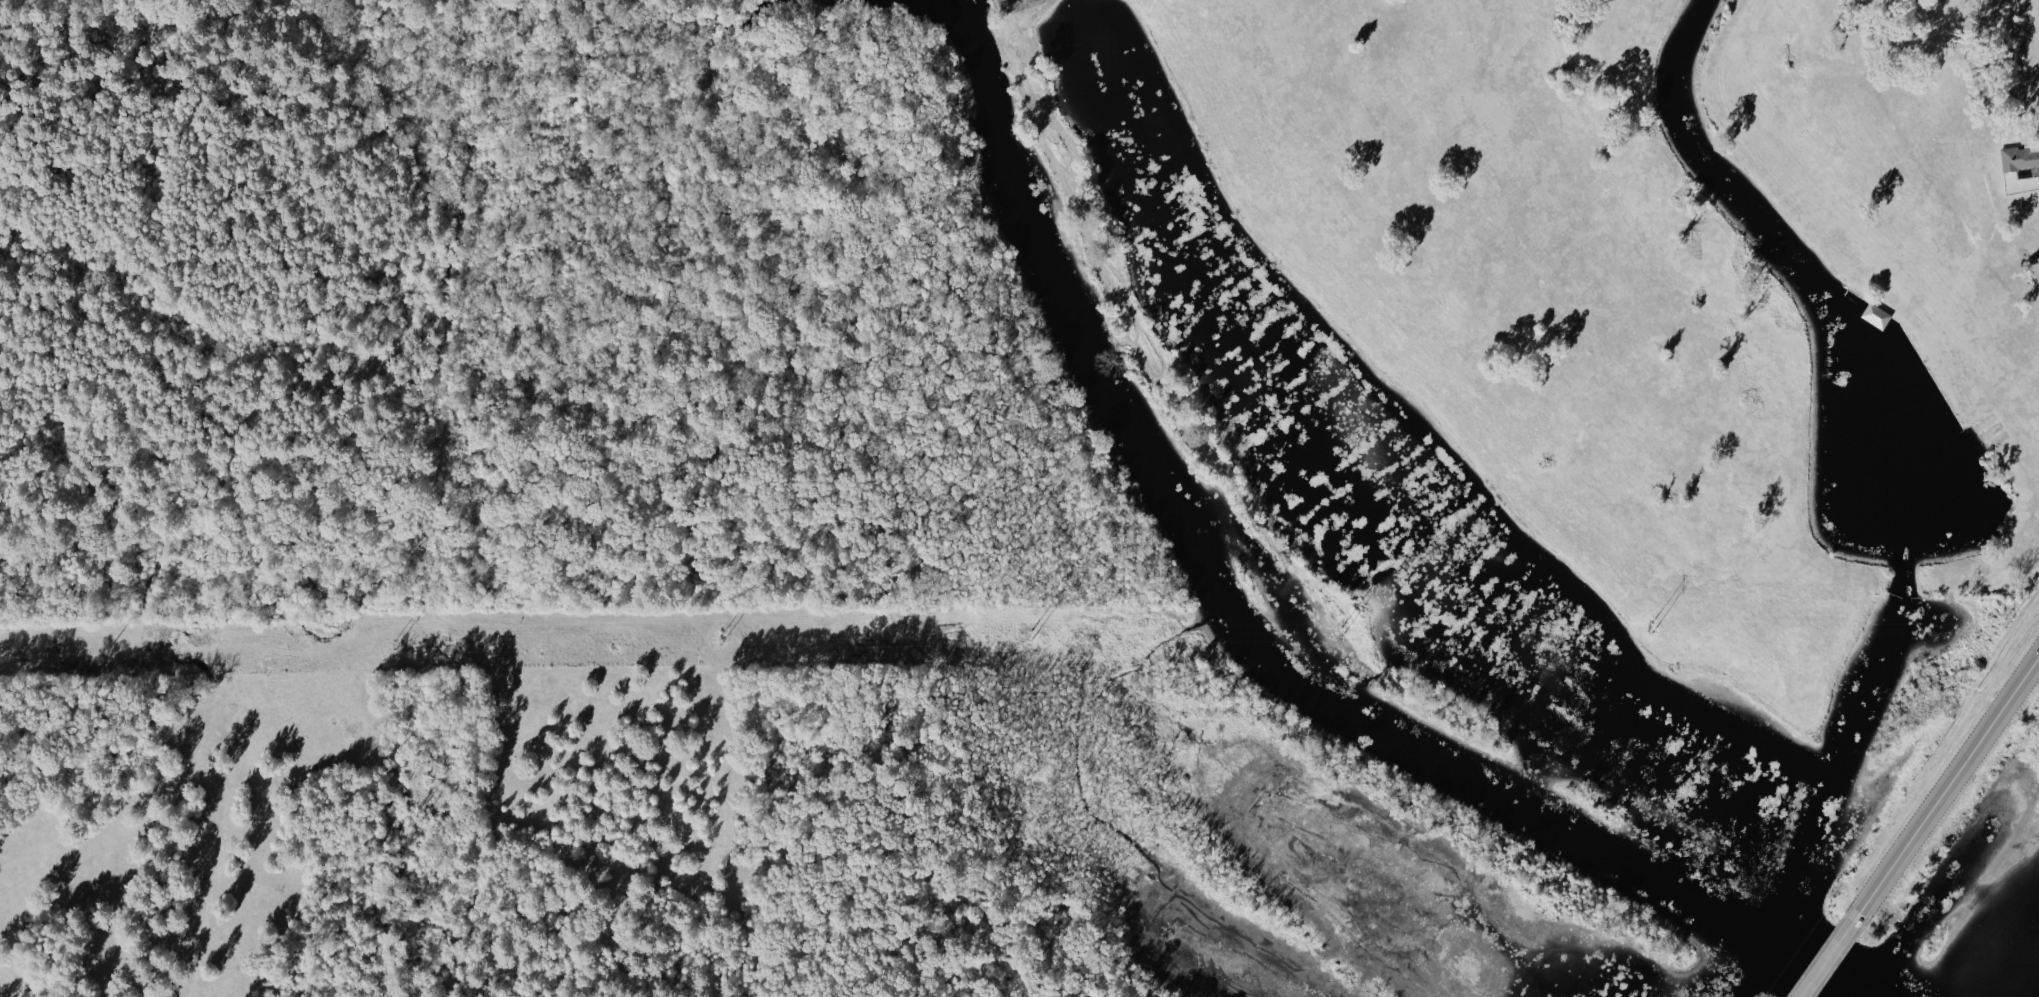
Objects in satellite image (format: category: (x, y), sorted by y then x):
building: (1871, 315)
power tower: (2000, 626)
power tower: (1657, 635)
power tower: (1027, 637)
power tower: (1334, 638)
power tower: (100, 654)
power tower: (722, 654)
power tower: (400, 662)
road: (1946, 786)
road: (1827, 958)

